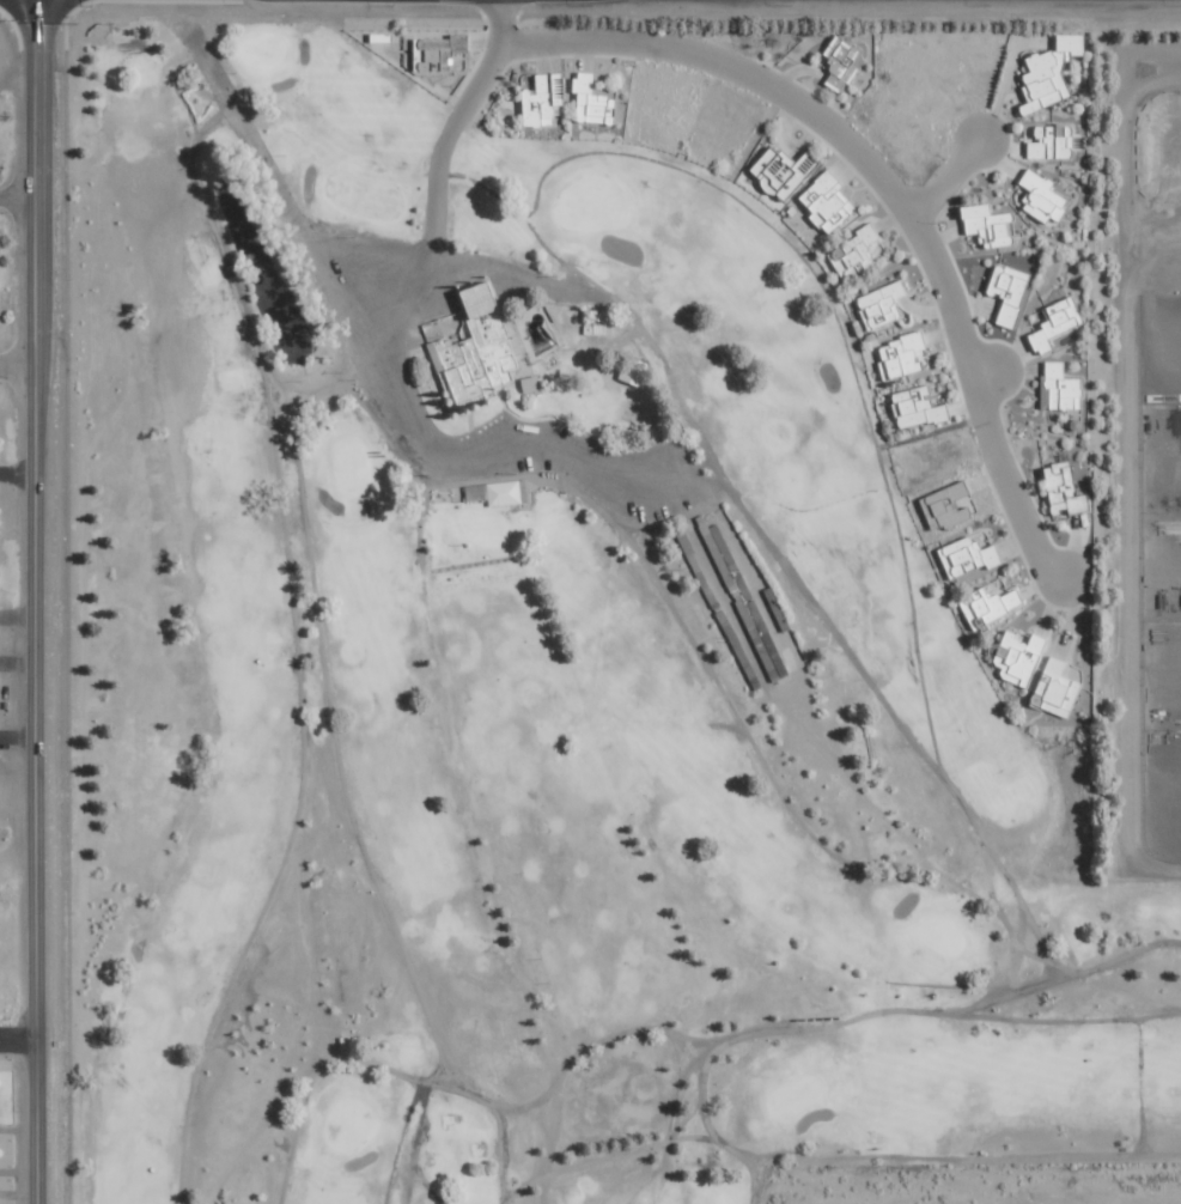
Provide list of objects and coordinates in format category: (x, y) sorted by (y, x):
building: (438, 50)
building: (841, 62)
building: (1051, 72)
building: (580, 93)
building: (543, 99)
road: (455, 116)
building: (1052, 142)
building: (784, 170)
road: (887, 184)
building: (1043, 196)
building: (829, 202)
building: (990, 225)
building: (854, 253)
building: (1010, 292)
building: (882, 304)
building: (593, 315)
building: (1057, 323)
building: (477, 351)
building: (902, 355)
building: (635, 371)
building: (531, 383)
building: (1063, 387)
building: (918, 407)
building: (1065, 488)
building: (948, 506)
building: (968, 557)
road: (35, 601)
building: (993, 603)
railway: (63, 616)
building: (1019, 657)
park: (531, 686)
building: (1057, 689)
road: (19, 1039)

